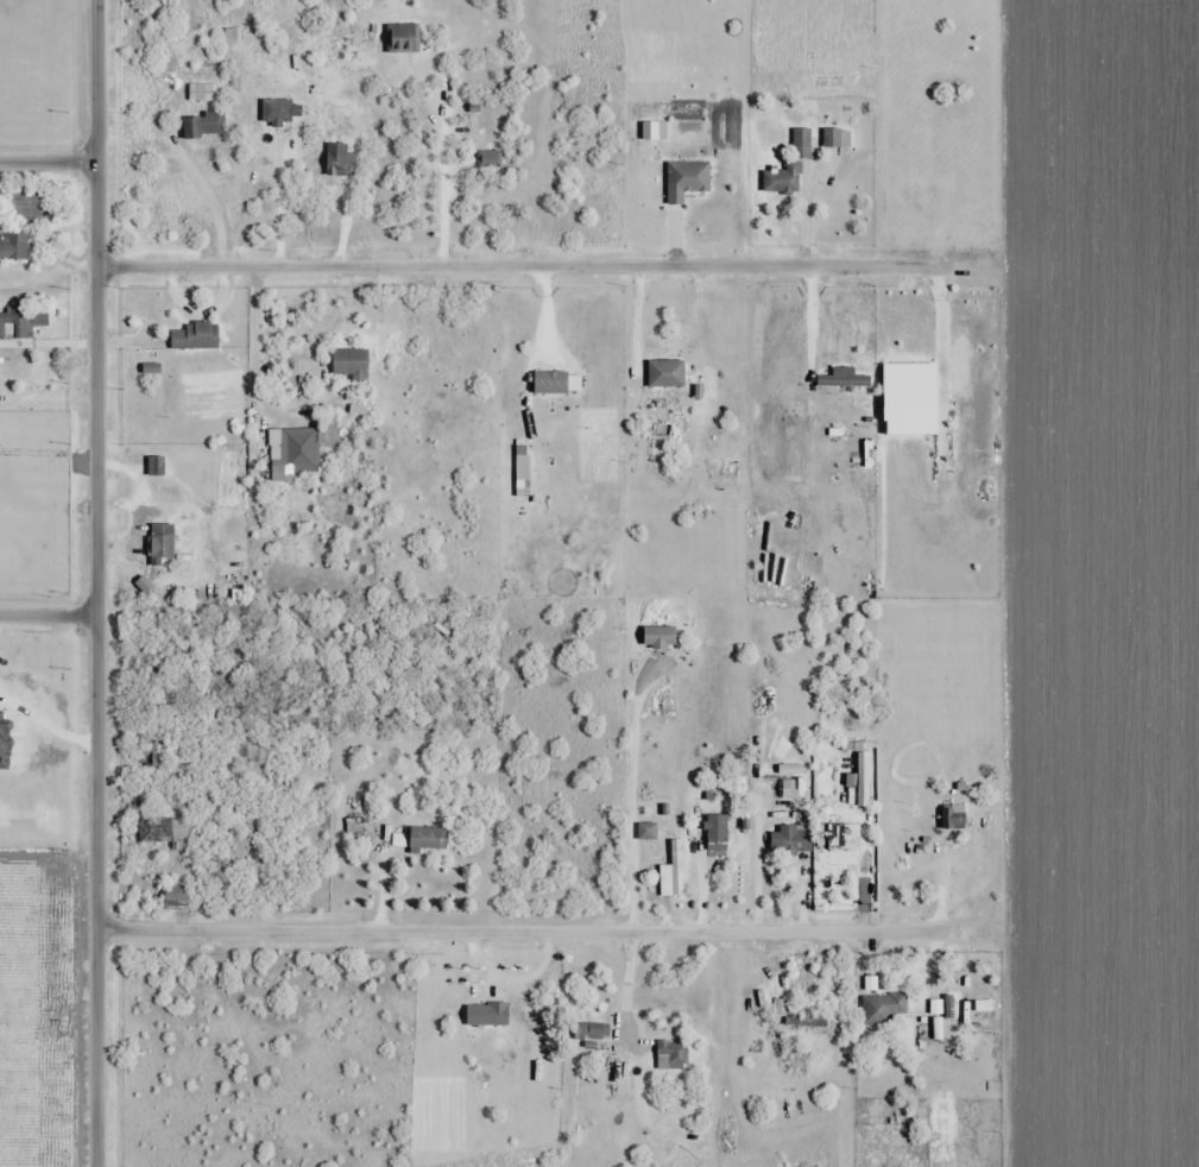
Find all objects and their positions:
building: (404, 38)
building: (204, 93)
building: (277, 112)
building: (204, 125)
building: (833, 138)
building: (341, 159)
building: (491, 159)
road: (51, 163)
building: (789, 168)
building: (687, 181)
building: (330, 194)
road: (210, 203)
building: (31, 207)
building: (13, 247)
road: (490, 269)
building: (17, 326)
building: (194, 336)
building: (351, 364)
building: (12, 373)
building: (668, 373)
building: (844, 379)
building: (302, 452)
building: (157, 466)
building: (163, 547)
road: (99, 583)
road: (49, 618)
building: (660, 638)
building: (166, 709)
building: (159, 761)
building: (788, 789)
building: (954, 816)
building: (648, 832)
building: (168, 833)
building: (845, 838)
building: (425, 840)
building: (793, 841)
building: (400, 843)
building: (718, 844)
building: (674, 872)
building: (177, 900)
road: (532, 934)
building: (883, 1008)
building: (487, 1015)
building: (808, 1018)
building: (592, 1032)
building: (939, 1033)
building: (673, 1056)

